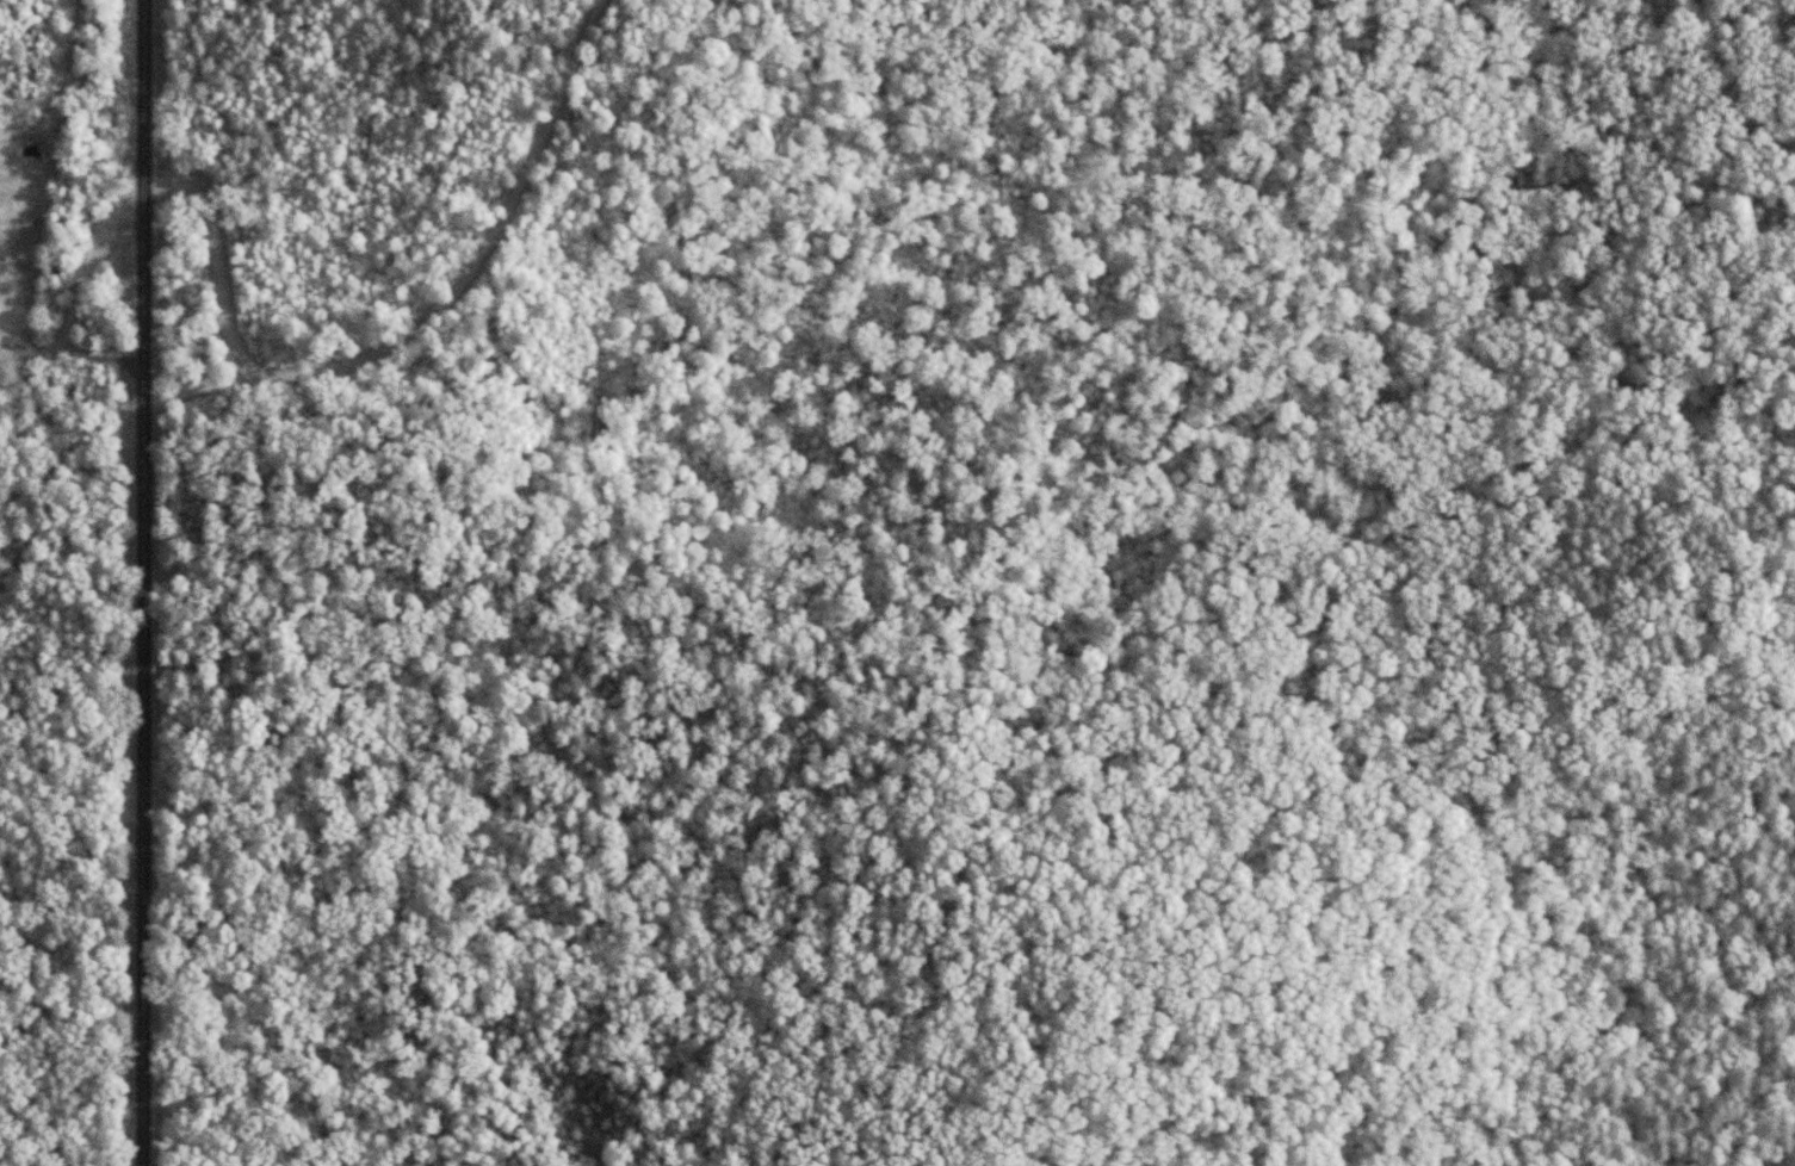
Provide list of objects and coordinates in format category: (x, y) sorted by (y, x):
road: (72, 278)
road: (462, 297)
road: (74, 356)
road: (141, 582)

